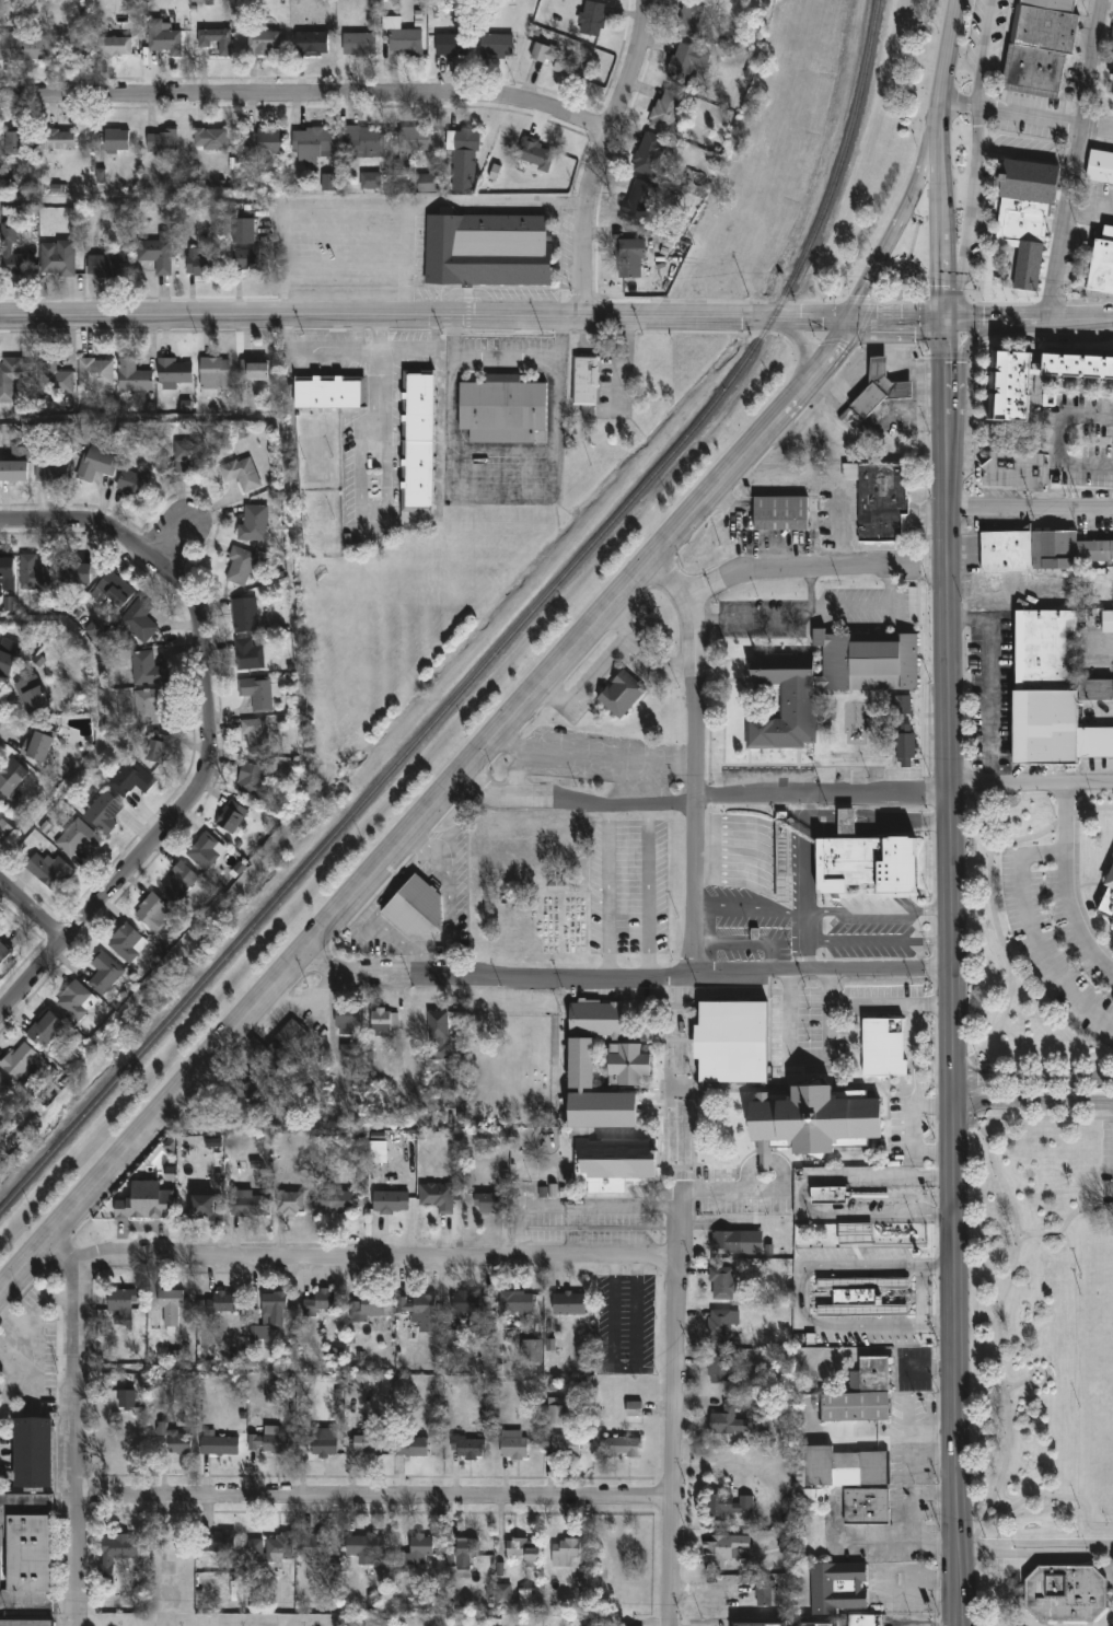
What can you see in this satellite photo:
building: (1051, 5)
building: (591, 19)
building: (691, 20)
building: (1045, 31)
building: (163, 39)
building: (215, 39)
building: (405, 42)
building: (264, 43)
building: (311, 44)
building: (358, 44)
building: (1111, 44)
building: (452, 45)
building: (496, 46)
building: (114, 47)
building: (26, 48)
road: (949, 48)
road: (982, 53)
building: (560, 61)
building: (686, 61)
building: (1035, 70)
building: (1111, 84)
road: (305, 95)
building: (665, 113)
road: (1025, 118)
building: (209, 139)
building: (362, 139)
building: (60, 140)
building: (116, 140)
building: (161, 142)
building: (15, 143)
building: (264, 143)
building: (311, 143)
building: (410, 148)
building: (535, 153)
building: (649, 154)
road: (1025, 156)
road: (595, 159)
building: (464, 161)
road: (1074, 162)
building: (1100, 169)
building: (370, 181)
building: (328, 183)
building: (427, 183)
road: (971, 195)
road: (512, 200)
road: (573, 200)
building: (637, 200)
road: (1091, 204)
road: (942, 210)
road: (294, 212)
road: (903, 212)
building: (1028, 222)
building: (242, 231)
road: (406, 233)
building: (486, 251)
building: (11, 253)
building: (159, 254)
building: (57, 259)
building: (630, 259)
building: (244, 260)
park: (907, 262)
building: (1102, 264)
building: (107, 266)
building: (200, 266)
road: (960, 303)
traffic signals: (849, 321)
road: (1029, 323)
road: (473, 324)
traffic signals: (947, 324)
road: (969, 345)
road: (801, 352)
road: (508, 358)
road: (359, 359)
road: (820, 368)
building: (254, 369)
building: (95, 371)
building: (175, 372)
building: (213, 373)
building: (14, 375)
building: (134, 375)
building: (56, 379)
building: (586, 381)
building: (331, 392)
road: (379, 392)
building: (876, 393)
building: (1010, 399)
building: (503, 410)
road: (1057, 443)
building: (419, 449)
building: (189, 455)
building: (97, 464)
building: (53, 468)
building: (14, 471)
building: (1013, 471)
road: (280, 472)
building: (242, 473)
building: (135, 479)
building: (880, 502)
road: (1030, 508)
building: (779, 515)
building: (254, 523)
road: (172, 539)
building: (1039, 550)
building: (240, 566)
building: (7, 567)
building: (33, 572)
road: (790, 572)
building: (74, 573)
road: (889, 585)
building: (115, 589)
road: (831, 606)
building: (245, 614)
building: (139, 618)
road: (753, 619)
building: (1106, 623)
building: (93, 629)
railway: (502, 641)
building: (248, 653)
road: (1100, 660)
building: (5, 662)
building: (867, 662)
building: (147, 667)
road: (988, 687)
building: (257, 690)
building: (32, 692)
building: (1052, 692)
building: (621, 696)
building: (785, 704)
building: (149, 705)
building: (897, 706)
road: (98, 721)
road: (213, 735)
building: (255, 735)
building: (37, 743)
building: (159, 746)
building: (905, 746)
building: (11, 775)
building: (131, 777)
building: (253, 778)
road: (697, 788)
road: (1032, 791)
road: (706, 803)
building: (0, 805)
building: (104, 810)
building: (231, 815)
road: (808, 816)
road: (822, 821)
road: (846, 821)
road: (903, 823)
building: (4, 828)
building: (78, 837)
road: (419, 838)
building: (204, 849)
road: (393, 857)
road: (734, 859)
building: (863, 860)
building: (782, 867)
building: (58, 868)
road: (782, 871)
road: (798, 875)
building: (181, 882)
road: (1068, 886)
road: (805, 887)
road: (648, 892)
road: (608, 893)
building: (1108, 899)
building: (417, 905)
road: (448, 906)
building: (154, 910)
road: (880, 910)
road: (34, 911)
road: (749, 913)
parking lot: (872, 929)
road: (1033, 934)
parking lot: (758, 940)
building: (127, 941)
road: (740, 942)
road: (880, 942)
parking lot: (1054, 942)
building: (3, 950)
road: (809, 955)
road: (414, 965)
building: (104, 971)
road: (952, 974)
road: (629, 977)
road: (830, 986)
building: (76, 998)
road: (874, 1003)
road: (934, 1003)
road: (0, 1017)
building: (346, 1022)
building: (382, 1023)
building: (45, 1029)
building: (438, 1035)
building: (730, 1043)
building: (286, 1044)
building: (883, 1048)
building: (350, 1050)
building: (22, 1060)
building: (626, 1064)
building: (580, 1065)
road: (1032, 1079)
road: (680, 1082)
building: (4, 1083)
building: (250, 1088)
road: (1033, 1099)
road: (935, 1107)
building: (814, 1120)
building: (580, 1141)
building: (615, 1162)
parking lot: (1108, 1163)
road: (994, 1170)
road: (716, 1189)
building: (827, 1196)
building: (437, 1197)
road: (807, 1197)
building: (336, 1203)
building: (289, 1204)
building: (390, 1204)
building: (158, 1205)
building: (248, 1205)
building: (488, 1205)
road: (577, 1205)
building: (201, 1207)
road: (1064, 1223)
building: (855, 1234)
building: (726, 1243)
road: (376, 1255)
building: (722, 1285)
road: (804, 1297)
parking lot: (805, 1299)
building: (860, 1299)
building: (223, 1303)
building: (318, 1303)
building: (472, 1303)
building: (517, 1304)
road: (36, 1305)
building: (569, 1305)
building: (119, 1308)
building: (170, 1308)
building: (367, 1310)
building: (420, 1312)
building: (267, 1314)
building: (720, 1327)
park: (1045, 1332)
building: (531, 1351)
road: (14, 1363)
road: (624, 1369)
building: (718, 1371)
parking lot: (913, 1371)
road: (1036, 1371)
road: (1023, 1382)
road: (1008, 1383)
road: (1010, 1389)
building: (274, 1393)
building: (860, 1395)
building: (127, 1399)
road: (673, 1407)
building: (634, 1409)
building: (558, 1410)
building: (727, 1421)
road: (82, 1429)
building: (839, 1430)
building: (303, 1440)
building: (177, 1443)
building: (269, 1443)
building: (323, 1443)
building: (512, 1445)
building: (367, 1447)
building: (566, 1447)
building: (219, 1448)
building: (411, 1448)
building: (621, 1448)
building: (468, 1449)
building: (844, 1468)
building: (810, 1496)
road: (1058, 1497)
road: (912, 1499)
road: (378, 1502)
building: (731, 1507)
building: (866, 1508)
building: (27, 1530)
road: (895, 1542)
building: (219, 1544)
building: (784, 1546)
building: (314, 1547)
building: (364, 1548)
building: (466, 1548)
road: (1034, 1548)
road: (975, 1549)
building: (270, 1550)
building: (419, 1552)
building: (523, 1552)
building: (565, 1553)
building: (727, 1553)
building: (115, 1554)
building: (583, 1586)
road: (924, 1587)
building: (838, 1589)
building: (1065, 1592)
building: (765, 1593)
building: (503, 1594)
road: (976, 1595)
building: (861, 1621)
road: (202, 1622)
road: (104, 1624)
building: (757, 1625)
building: (816, 1625)

